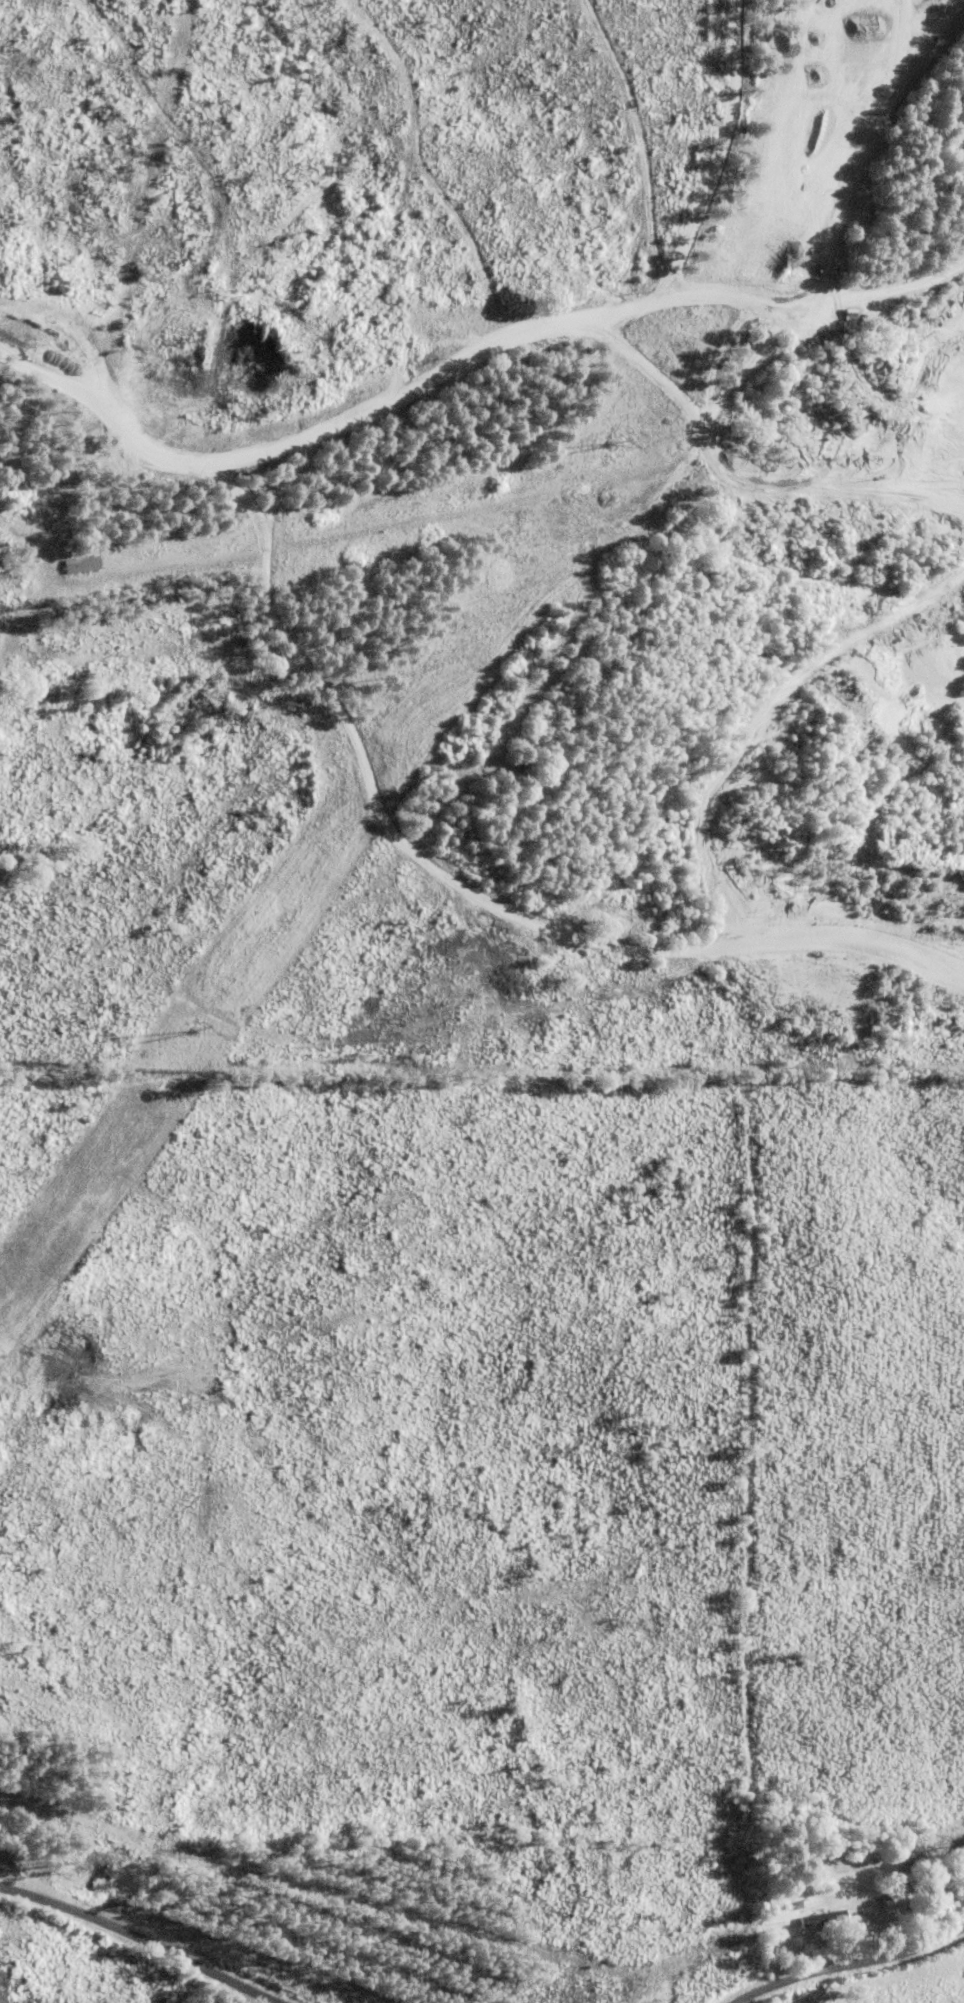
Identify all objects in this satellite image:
building: (841, 313)
power tower: (609, 443)
building: (69, 564)
power tower: (184, 1031)
building: (811, 1918)
road: (137, 1939)
road: (845, 1962)

